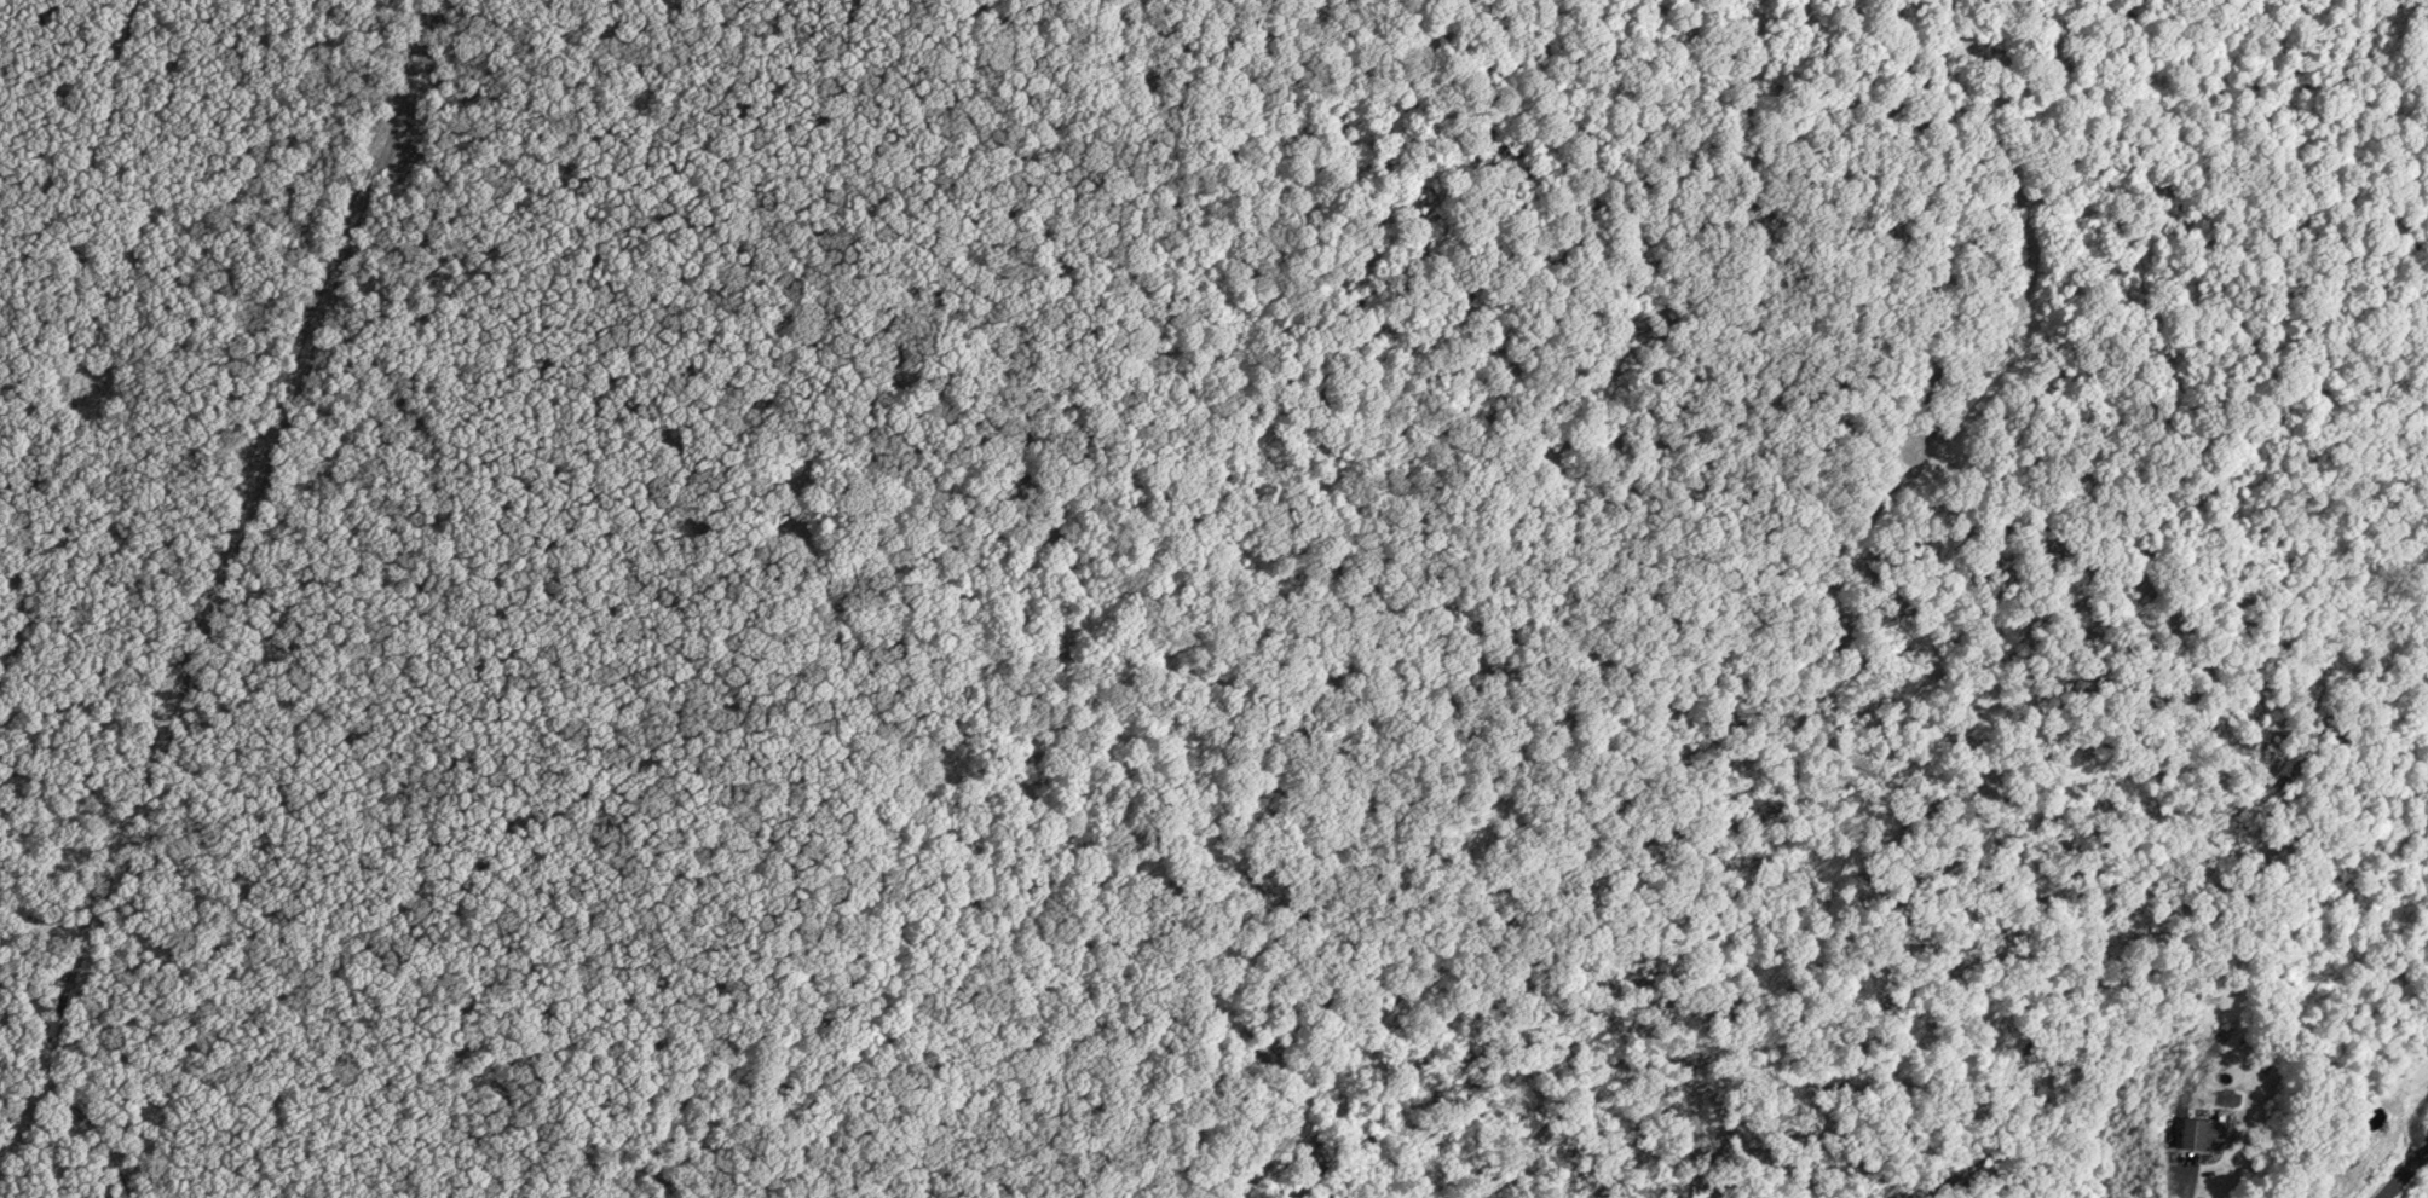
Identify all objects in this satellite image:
building: (2230, 1054)
building: (2209, 1134)
road: (2390, 1152)

